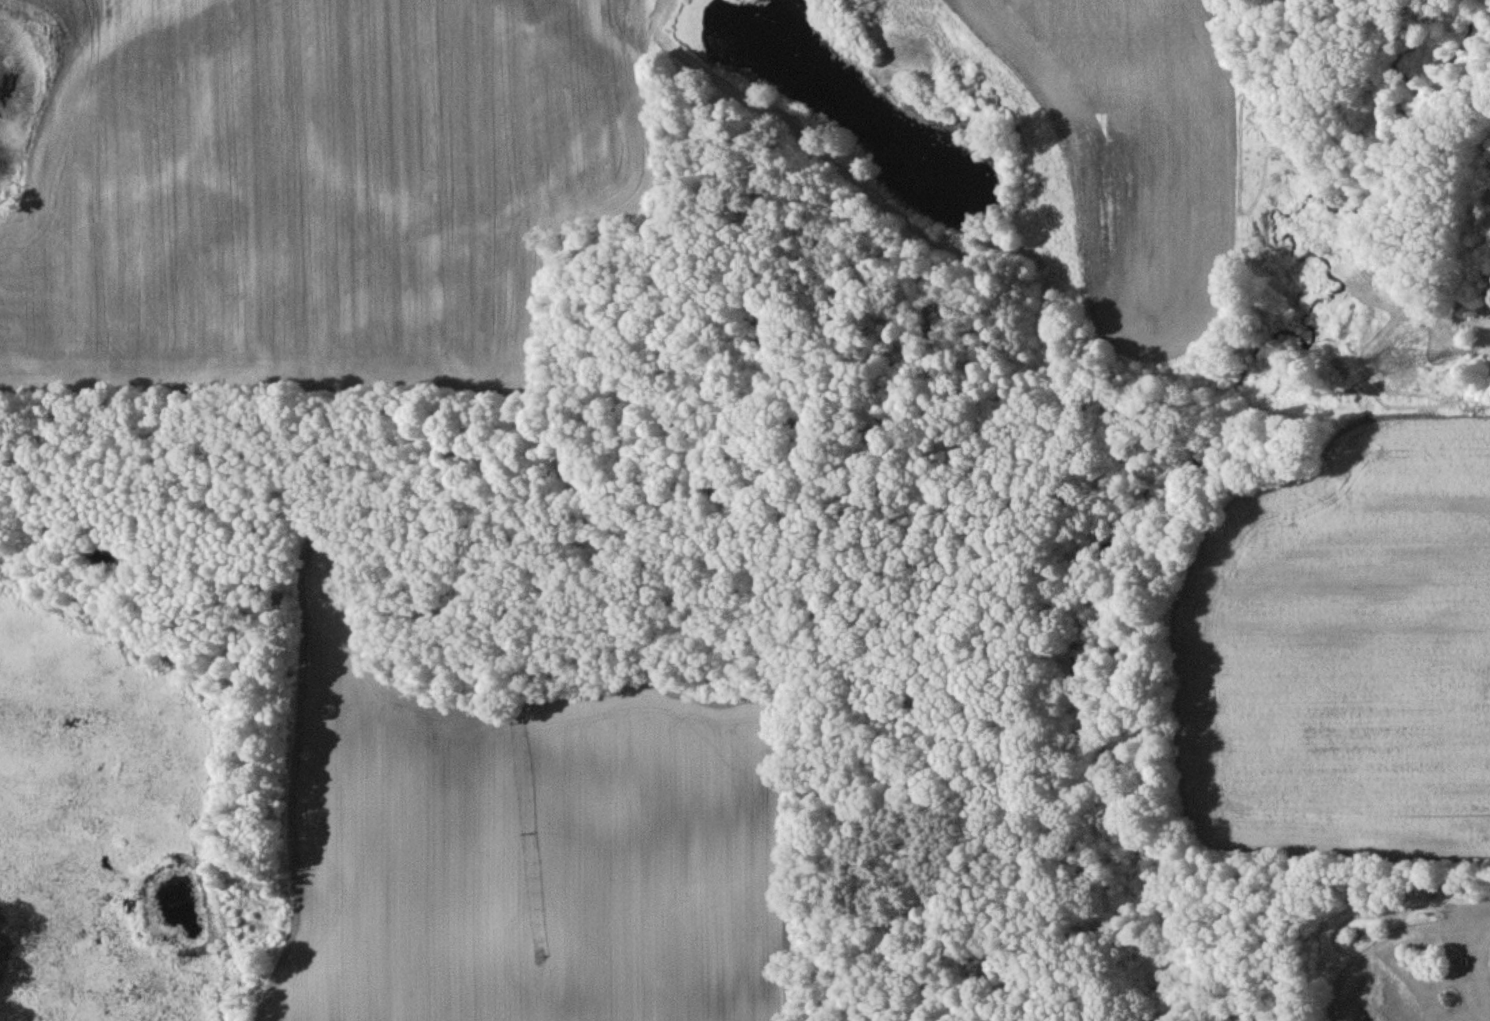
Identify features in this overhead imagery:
power tower: (1387, 364)

